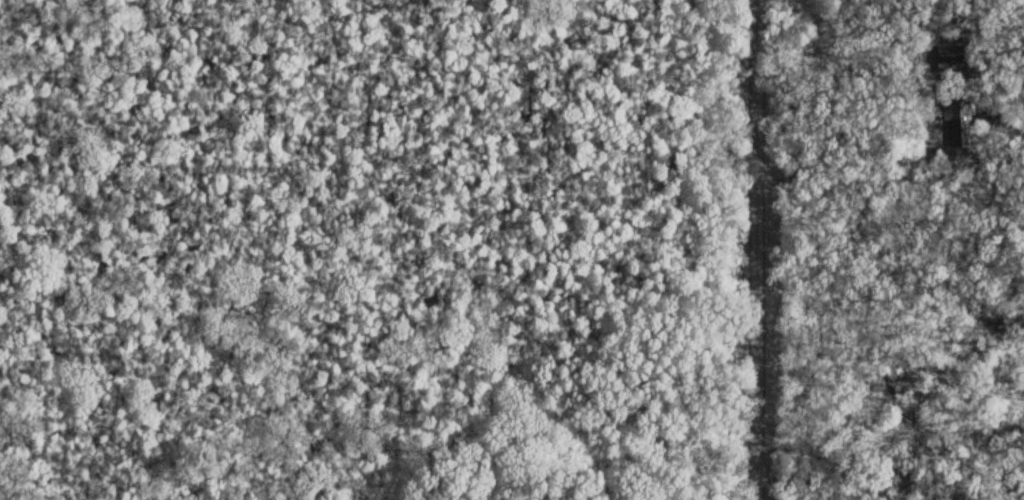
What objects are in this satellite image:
road: (747, 250)

